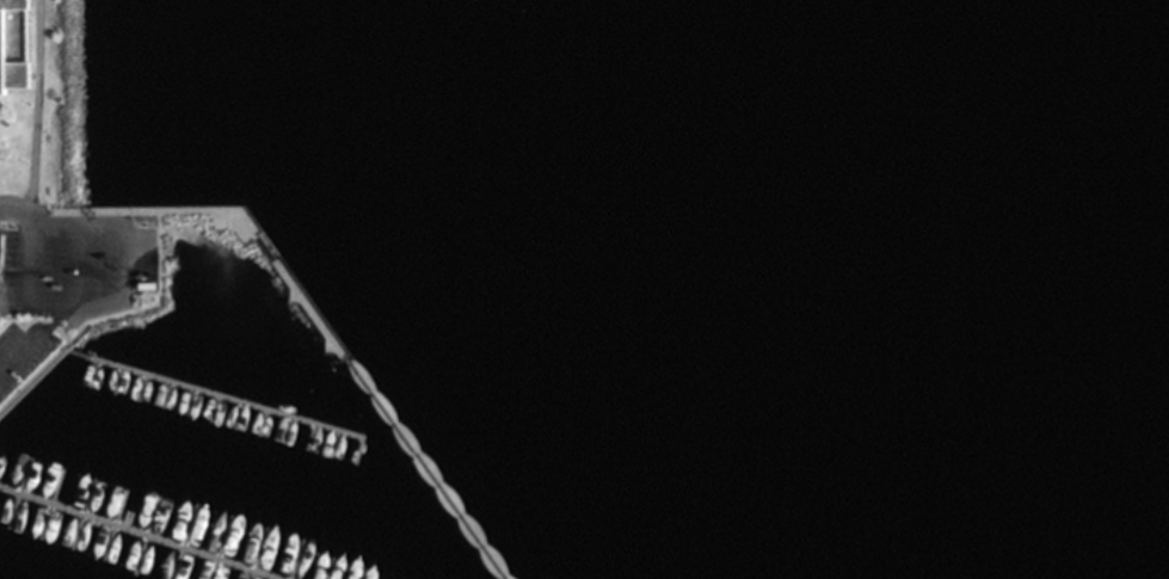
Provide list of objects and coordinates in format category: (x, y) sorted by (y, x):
building: (12, 44)
park: (45, 101)
road: (33, 103)
road: (13, 195)
road: (17, 221)
road: (72, 221)
parking lot: (70, 264)
road: (72, 264)
road: (160, 303)
road: (63, 307)
road: (308, 310)
road: (32, 338)
parking lot: (20, 350)
road: (41, 367)
road: (44, 370)
road: (93, 376)
road: (116, 383)
road: (140, 390)
road: (211, 396)
road: (162, 399)
road: (186, 407)
road: (211, 413)
road: (235, 420)
road: (259, 427)
road: (284, 435)
road: (307, 443)
road: (333, 449)
road: (357, 457)
road: (17, 497)
road: (49, 509)
road: (79, 521)
road: (111, 529)
road: (128, 536)
road: (143, 540)
road: (183, 544)
road: (221, 550)
road: (257, 555)
road: (293, 563)
road: (326, 573)
road: (361, 575)

